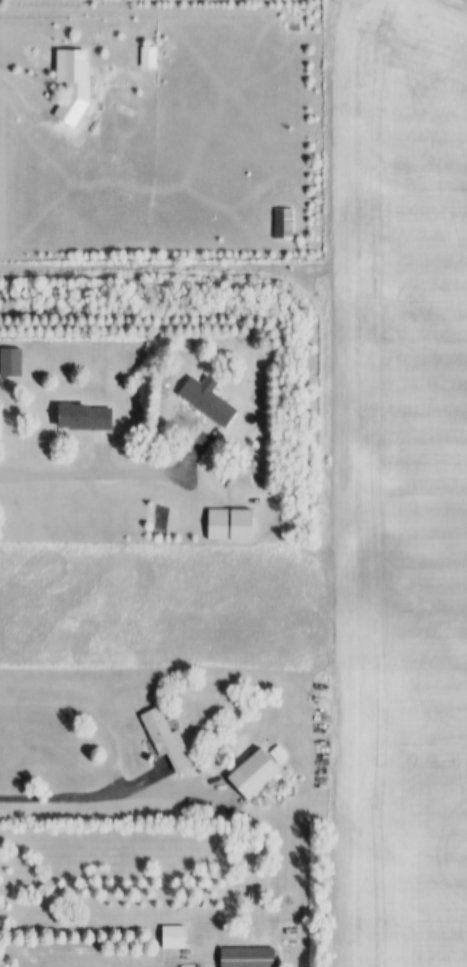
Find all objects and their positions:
building: (150, 54)
road: (24, 80)
building: (73, 81)
building: (286, 220)
building: (12, 359)
building: (209, 398)
building: (85, 414)
road: (199, 448)
road: (90, 471)
building: (232, 522)
building: (316, 695)
road: (90, 711)
building: (167, 742)
building: (254, 770)
road: (113, 791)
building: (176, 935)
building: (248, 956)
road: (192, 960)

